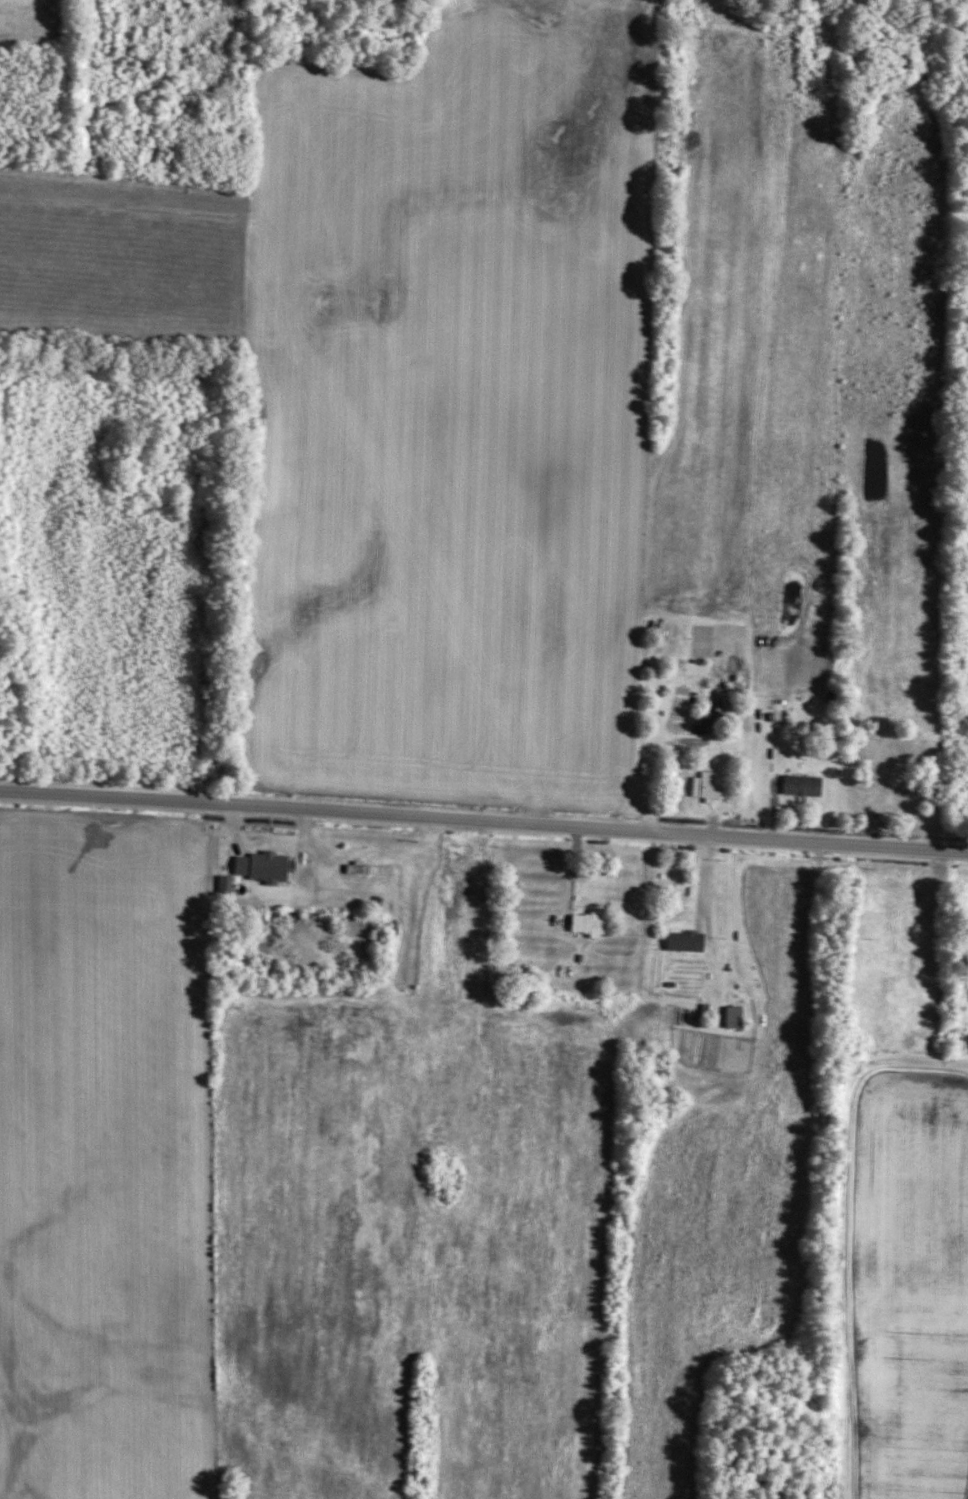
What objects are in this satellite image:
building: (201, 132)
road: (683, 742)
building: (702, 784)
building: (797, 785)
road: (484, 822)
building: (256, 867)
building: (582, 922)
building: (678, 940)
building: (956, 1004)
building: (728, 1017)

